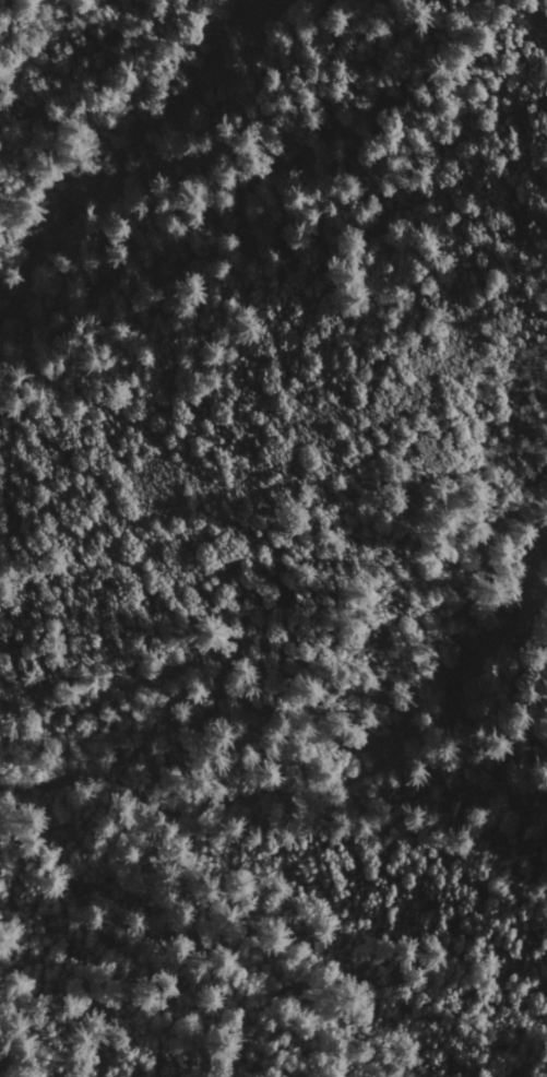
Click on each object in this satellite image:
road: (530, 14)

